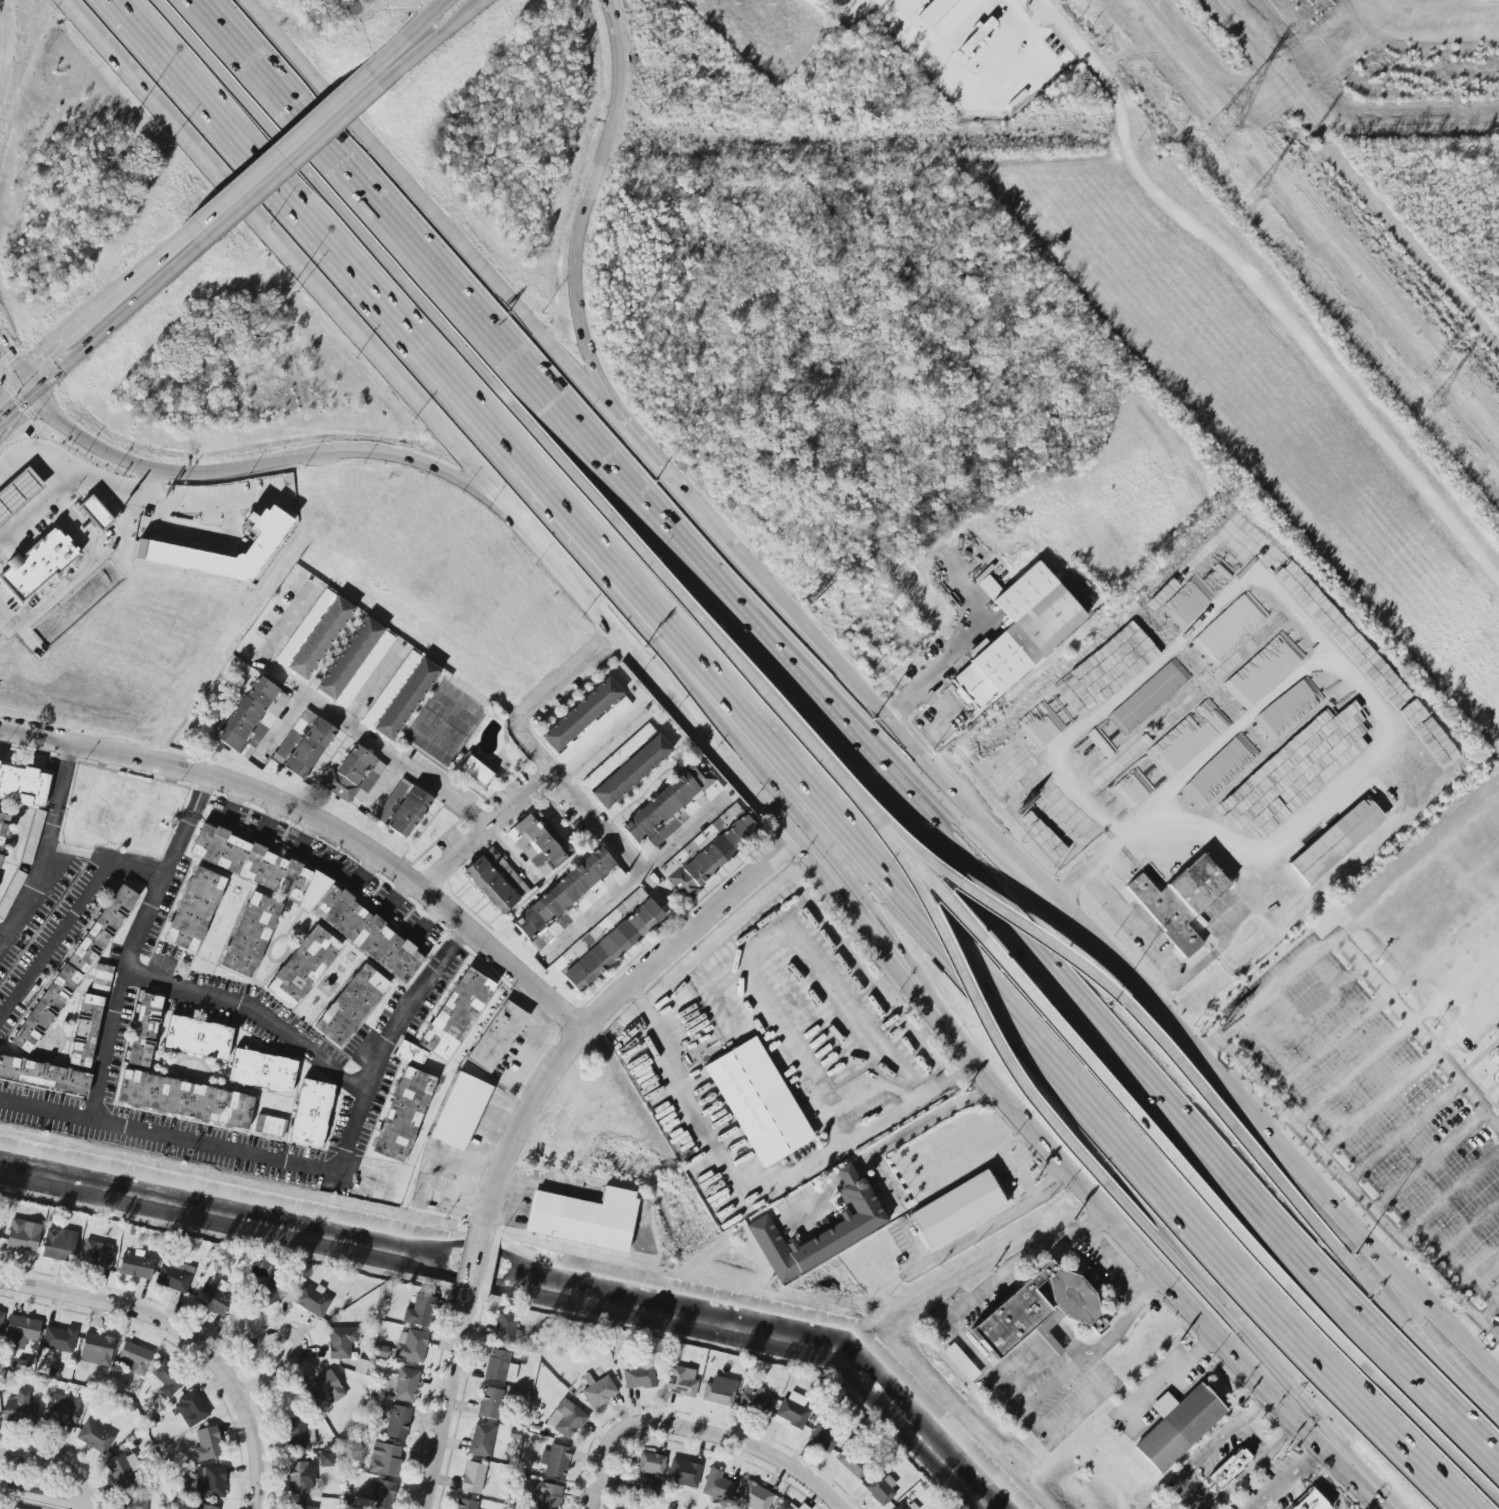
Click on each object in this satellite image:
road: (433, 11)
building: (945, 15)
road: (457, 19)
road: (1016, 28)
building: (977, 35)
road: (231, 44)
road: (233, 44)
road: (9, 55)
power tower: (1224, 126)
road: (301, 130)
road: (315, 144)
power tower: (1299, 171)
power tower: (1260, 205)
road: (585, 210)
road: (337, 219)
road: (313, 232)
road: (463, 244)
road: (290, 256)
road: (136, 274)
road: (1257, 292)
road: (474, 319)
road: (115, 321)
road: (55, 341)
traffic signals: (3, 352)
traffic signals: (40, 355)
road: (9, 359)
power tower: (1432, 371)
road: (10, 381)
road: (27, 382)
power tower: (1473, 382)
traffic signals: (19, 407)
road: (17, 408)
power tower: (1435, 417)
road: (376, 452)
road: (120, 456)
road: (34, 459)
building: (17, 492)
gas station: (17, 492)
road: (194, 506)
building: (95, 514)
road: (27, 520)
road: (71, 524)
road: (718, 532)
road: (199, 539)
building: (156, 546)
building: (36, 566)
road: (566, 572)
road: (695, 621)
building: (314, 634)
building: (1017, 634)
road: (1165, 654)
road: (947, 661)
building: (355, 663)
building: (400, 695)
park: (434, 715)
building: (252, 717)
building: (585, 720)
road: (286, 723)
park: (455, 730)
road: (1364, 742)
building: (304, 744)
road: (374, 744)
road: (603, 745)
road: (538, 749)
building: (618, 757)
road: (750, 758)
building: (476, 770)
building: (631, 771)
road: (910, 776)
building: (353, 777)
building: (23, 785)
road: (389, 786)
road: (950, 788)
building: (671, 807)
building: (403, 808)
road: (318, 827)
road: (488, 829)
building: (3, 830)
road: (685, 833)
building: (32, 837)
building: (1336, 841)
building: (538, 842)
road: (47, 844)
road: (796, 844)
building: (708, 851)
road: (1086, 869)
road: (154, 873)
building: (495, 881)
building: (10, 893)
building: (305, 895)
building: (568, 898)
building: (1179, 901)
building: (194, 909)
road: (595, 913)
building: (102, 929)
road: (5, 933)
road: (53, 935)
building: (250, 935)
road: (1134, 938)
building: (608, 940)
road: (1040, 941)
road: (1358, 961)
building: (303, 967)
building: (101, 980)
road: (1456, 986)
road: (984, 991)
road: (118, 995)
road: (970, 1001)
building: (351, 1005)
building: (45, 1008)
road: (1080, 1009)
building: (456, 1014)
road: (1304, 1017)
road: (254, 1020)
building: (144, 1030)
building: (85, 1031)
building: (497, 1036)
building: (197, 1038)
road: (1329, 1045)
building: (1496, 1052)
building: (410, 1055)
building: (262, 1071)
road: (1355, 1074)
building: (44, 1076)
road: (1114, 1090)
building: (185, 1099)
building: (758, 1102)
road: (1379, 1102)
building: (460, 1111)
building: (311, 1114)
building: (403, 1115)
road: (918, 1121)
road: (520, 1124)
building: (270, 1126)
road: (1405, 1131)
road: (1430, 1159)
road: (300, 1162)
road: (842, 1170)
road: (882, 1174)
road: (1064, 1176)
road: (1021, 1179)
road: (1357, 1189)
road: (1319, 1191)
road: (815, 1192)
road: (759, 1193)
road: (1038, 1194)
road: (1450, 1194)
building: (957, 1209)
building: (584, 1218)
building: (861, 1223)
road: (1463, 1233)
building: (23, 1237)
road: (969, 1237)
building: (58, 1245)
building: (97, 1254)
road: (1111, 1263)
road: (1346, 1263)
building: (136, 1266)
road: (1475, 1270)
building: (174, 1276)
road: (1174, 1289)
building: (270, 1291)
road: (970, 1298)
building: (311, 1301)
road: (119, 1305)
building: (420, 1311)
building: (1037, 1311)
road: (1489, 1311)
road: (1126, 1316)
building: (1, 1319)
building: (504, 1327)
building: (20, 1332)
building: (59, 1339)
road: (298, 1339)
building: (341, 1342)
building: (411, 1346)
road: (1249, 1346)
building: (96, 1349)
building: (134, 1358)
road: (1493, 1361)
building: (960, 1362)
building: (499, 1367)
road: (1172, 1375)
building: (638, 1376)
building: (168, 1378)
building: (681, 1381)
building: (402, 1384)
road: (1057, 1385)
building: (324, 1388)
building: (719, 1391)
building: (599, 1392)
building: (753, 1399)
building: (489, 1403)
road: (1076, 1408)
building: (20, 1409)
building: (191, 1409)
building: (61, 1410)
building: (792, 1410)
building: (566, 1419)
building: (397, 1422)
building: (1177, 1426)
building: (299, 1434)
road: (252, 1435)
building: (95, 1437)
building: (823, 1438)
road: (1434, 1438)
building: (481, 1440)
road: (741, 1442)
building: (207, 1444)
road: (1313, 1456)
building: (325, 1459)
building: (384, 1459)
building: (555, 1461)
building: (852, 1462)
building: (651, 1463)
road: (55, 1464)
road: (601, 1466)
building: (1229, 1469)
road: (1299, 1469)
building: (120, 1472)
building: (684, 1473)
building: (300, 1478)
building: (473, 1478)
building: (210, 1481)
building: (648, 1484)
building: (717, 1487)
building: (882, 1488)
building: (382, 1494)
road: (42, 1495)
building: (546, 1495)
building: (754, 1496)
building: (1310, 1502)
building: (132, 1504)
building: (465, 1504)
building: (782, 1505)
building: (299, 1506)
building: (906, 1506)
road: (1260, 1506)
road: (1335, 1506)
road: (85, 1507)
building: (205, 1507)
building: (801, 1507)

